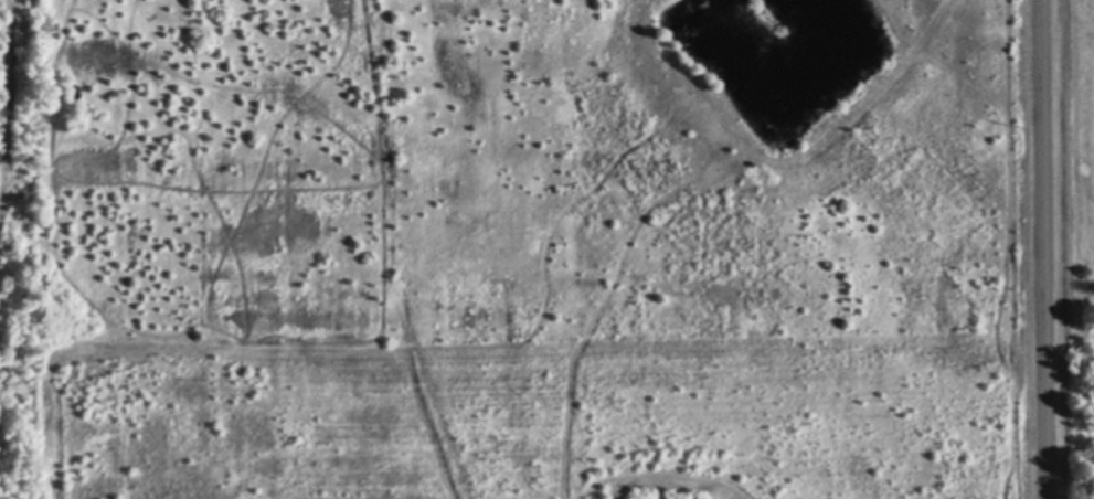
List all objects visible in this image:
road: (1044, 250)

